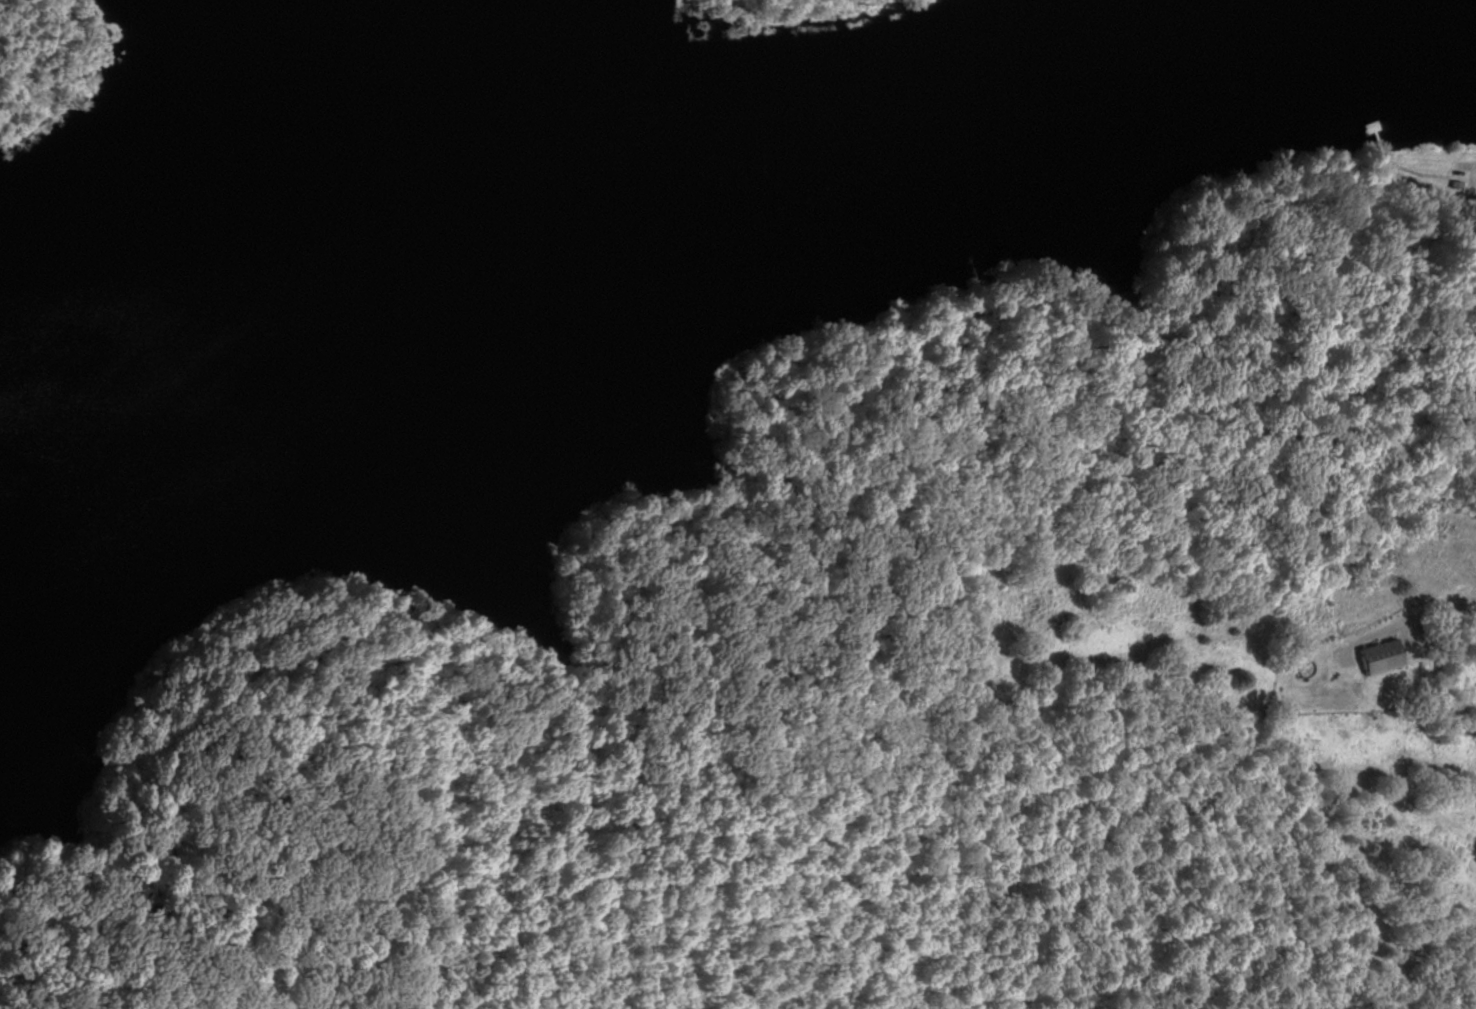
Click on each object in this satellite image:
road: (1471, 181)
building: (1383, 656)

